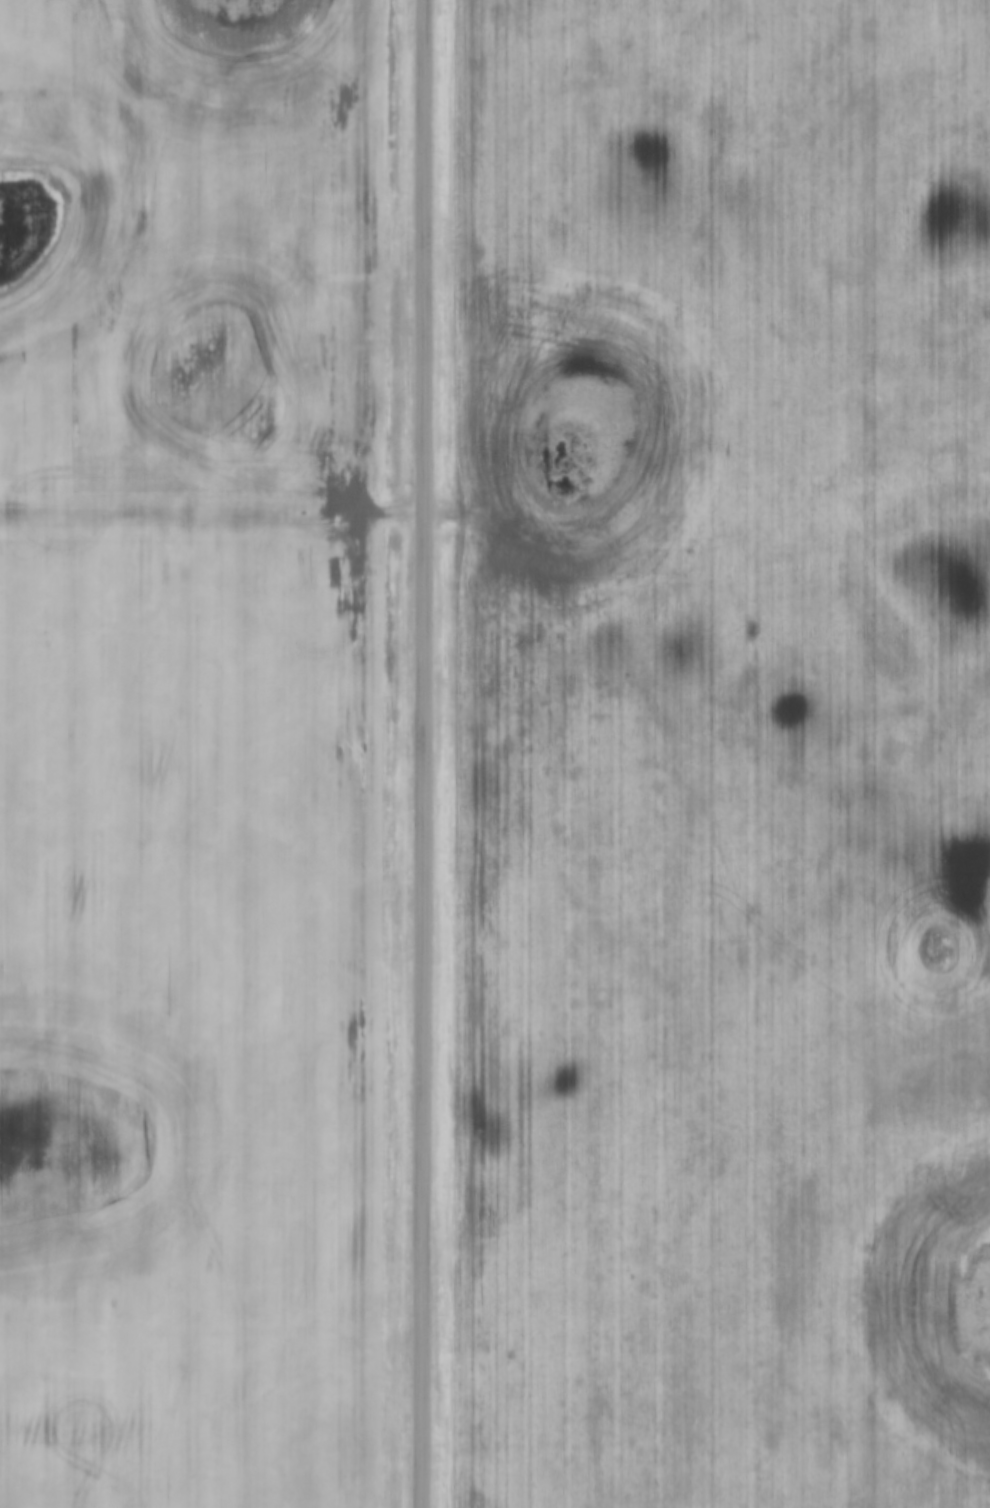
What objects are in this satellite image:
road: (422, 753)

